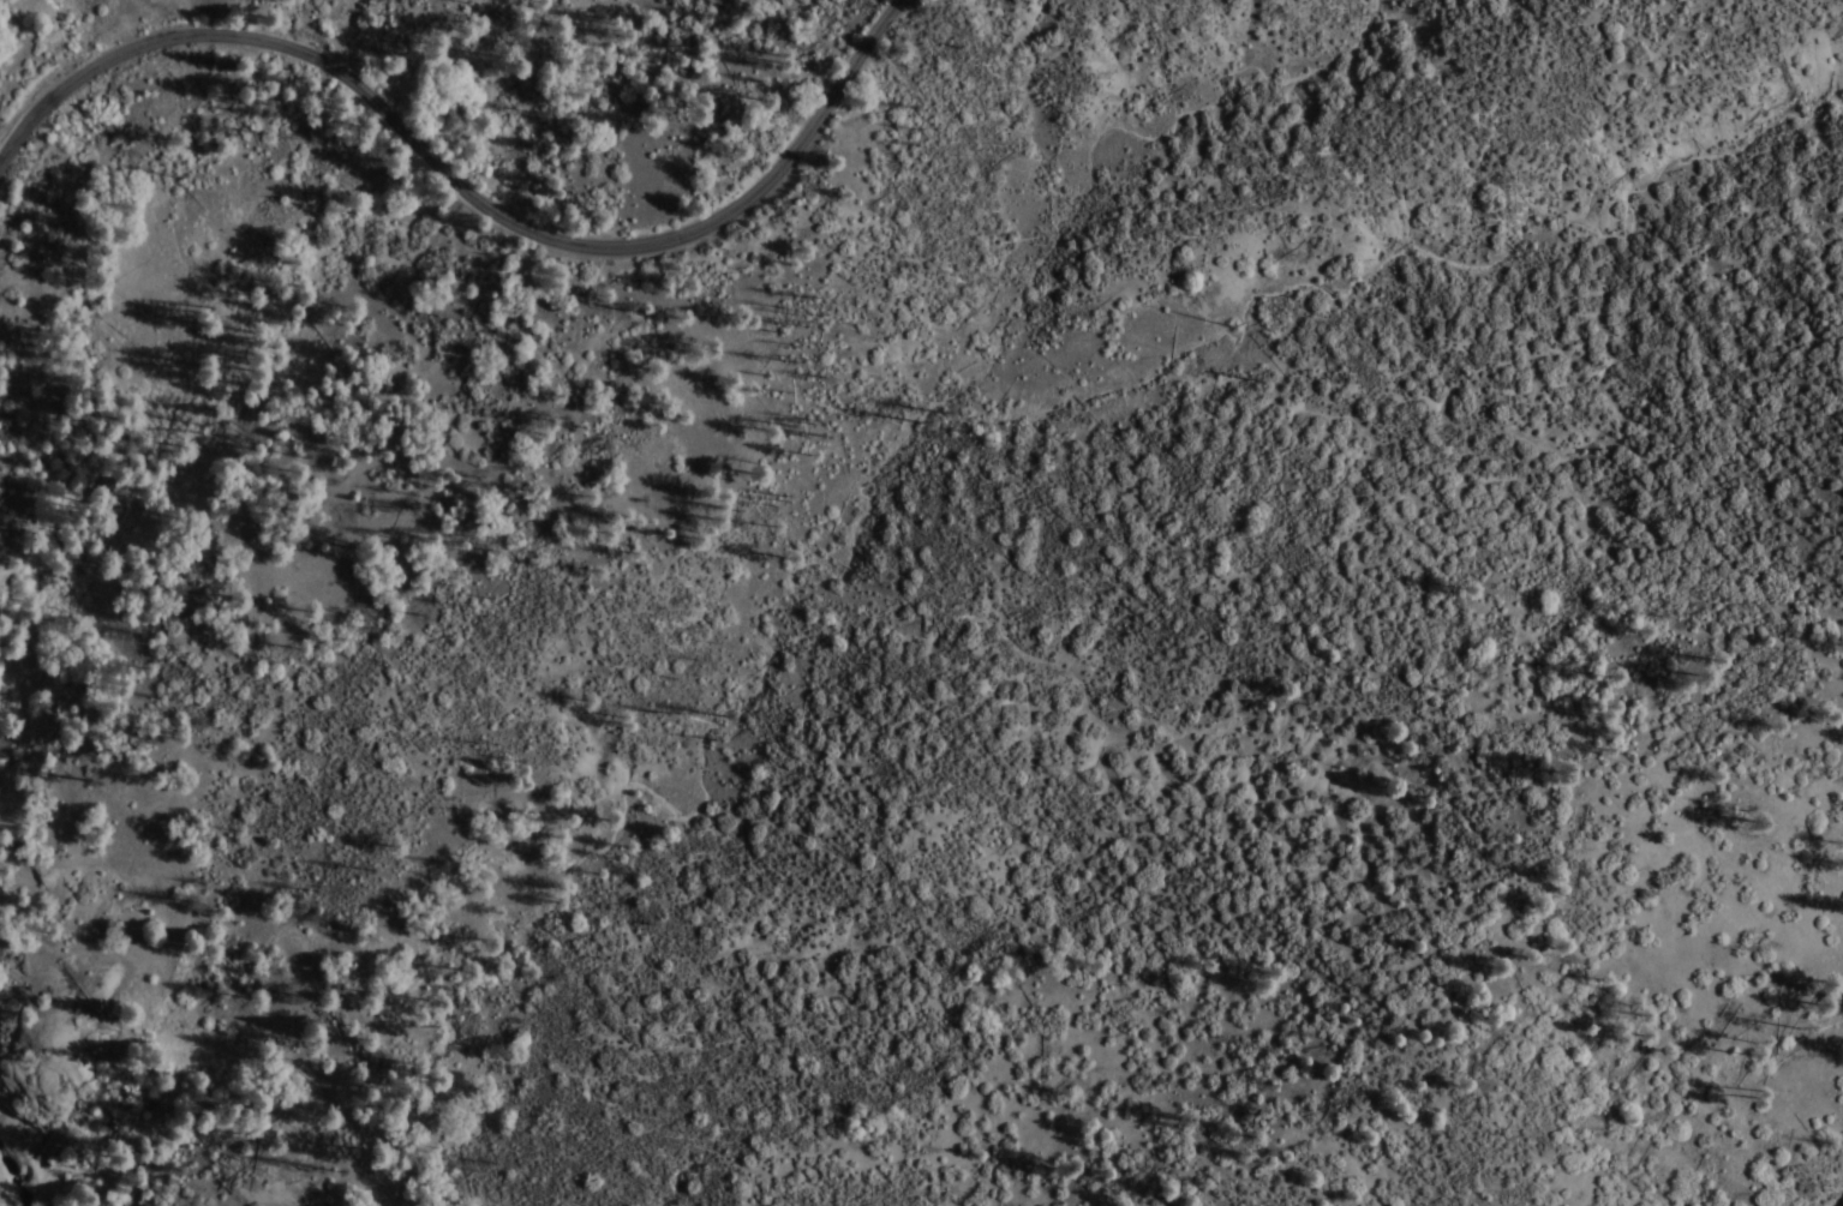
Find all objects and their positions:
road: (466, 188)

